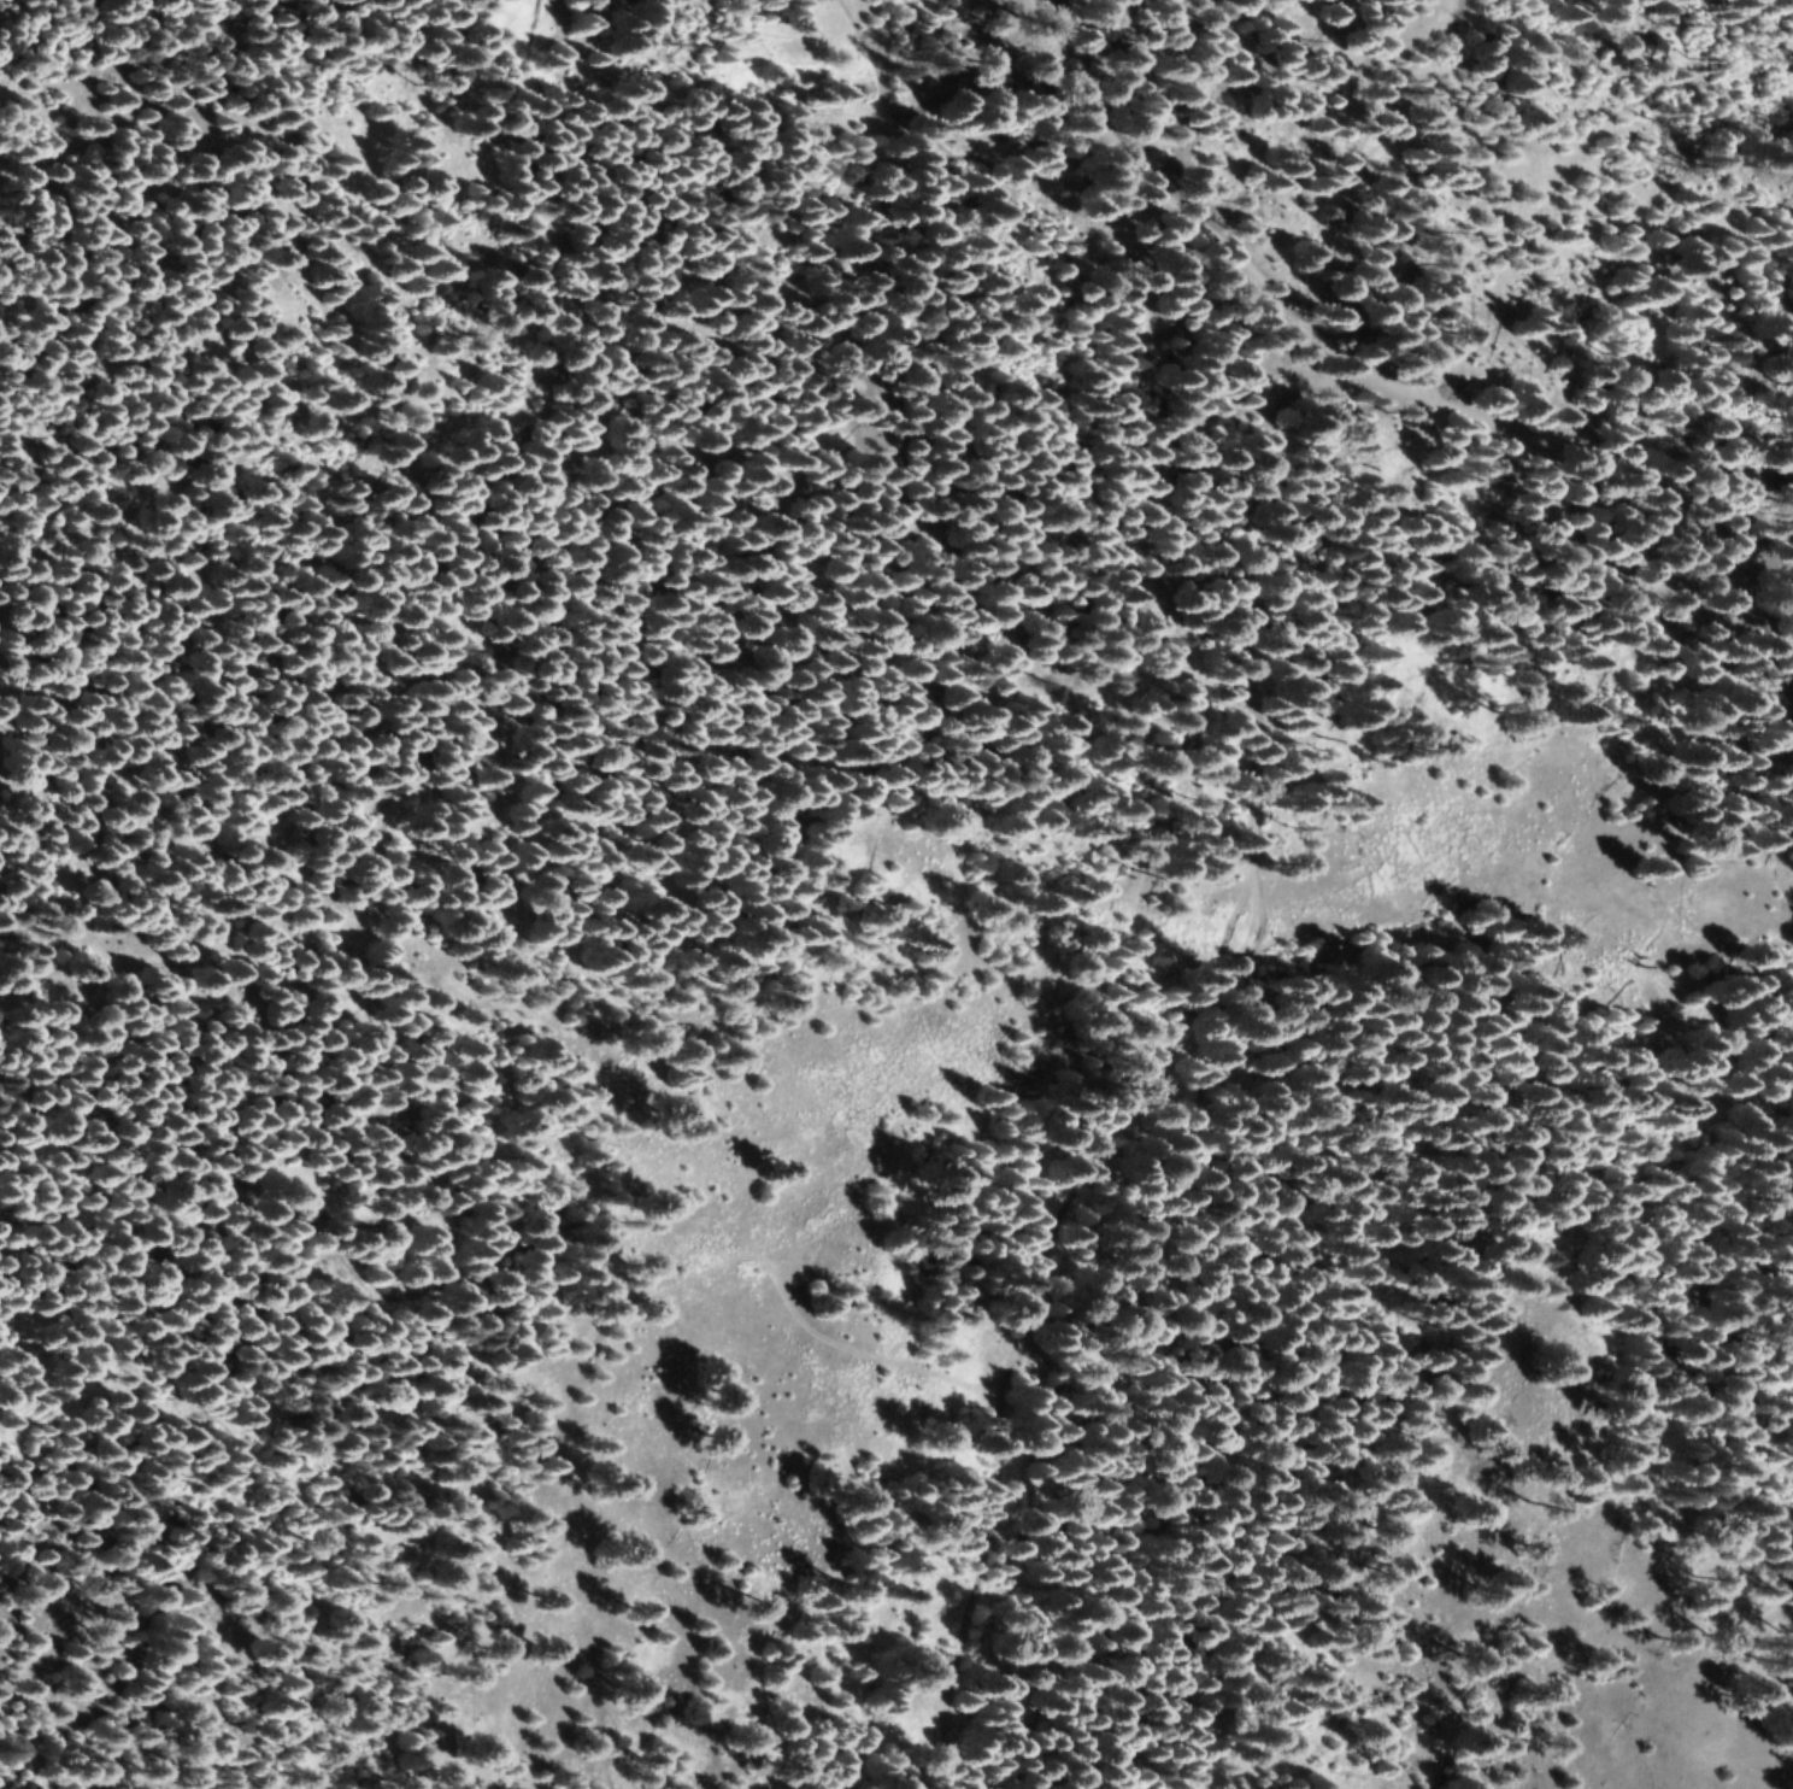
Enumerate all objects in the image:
road: (934, 106)
road: (1513, 198)
road: (1392, 339)
road: (1177, 1043)
road: (16, 1761)

